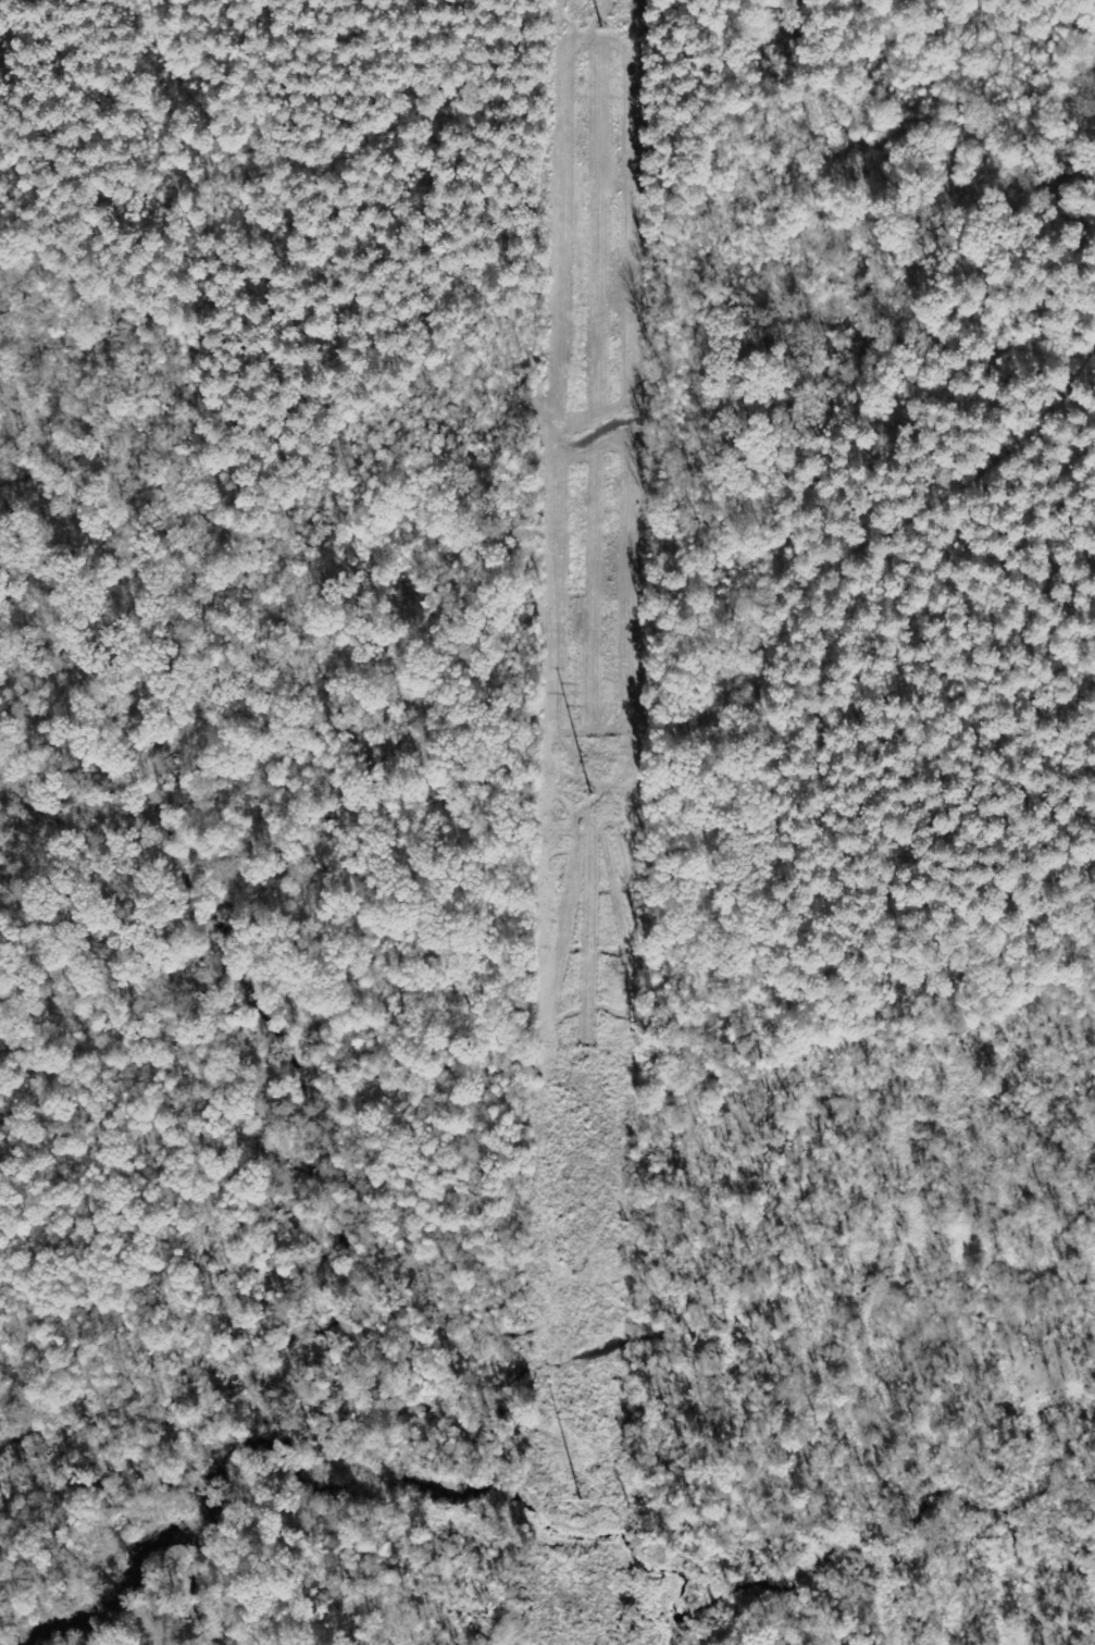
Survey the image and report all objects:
power tower: (607, 37)
power tower: (596, 794)
power tower: (590, 1505)

